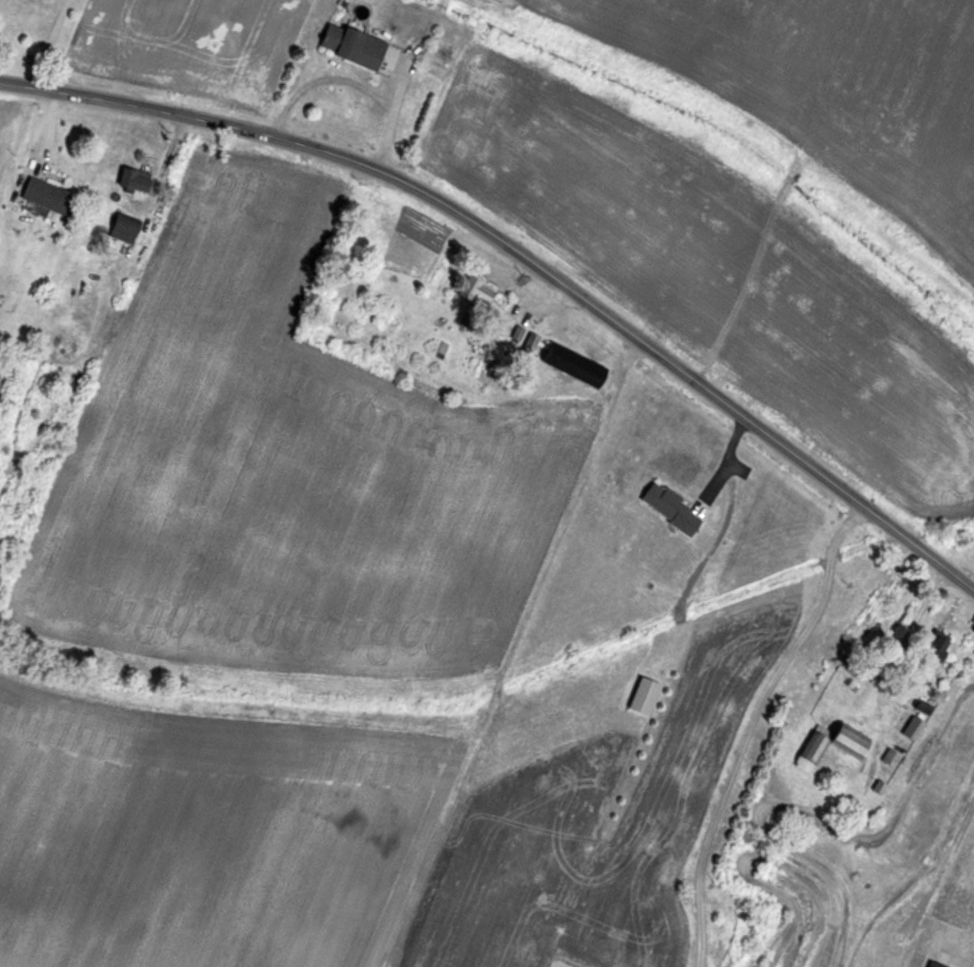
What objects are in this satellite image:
road: (50, 43)
building: (353, 46)
crop: (838, 88)
building: (134, 181)
building: (49, 197)
building: (124, 230)
road: (523, 253)
crop: (716, 282)
building: (477, 291)
building: (503, 328)
road: (721, 466)
crop: (299, 472)
building: (672, 509)
building: (934, 651)
building: (847, 669)
building: (644, 697)
road: (751, 725)
building: (913, 729)
building: (853, 752)
building: (891, 758)
crop: (202, 841)
crop: (570, 864)
building: (935, 964)

